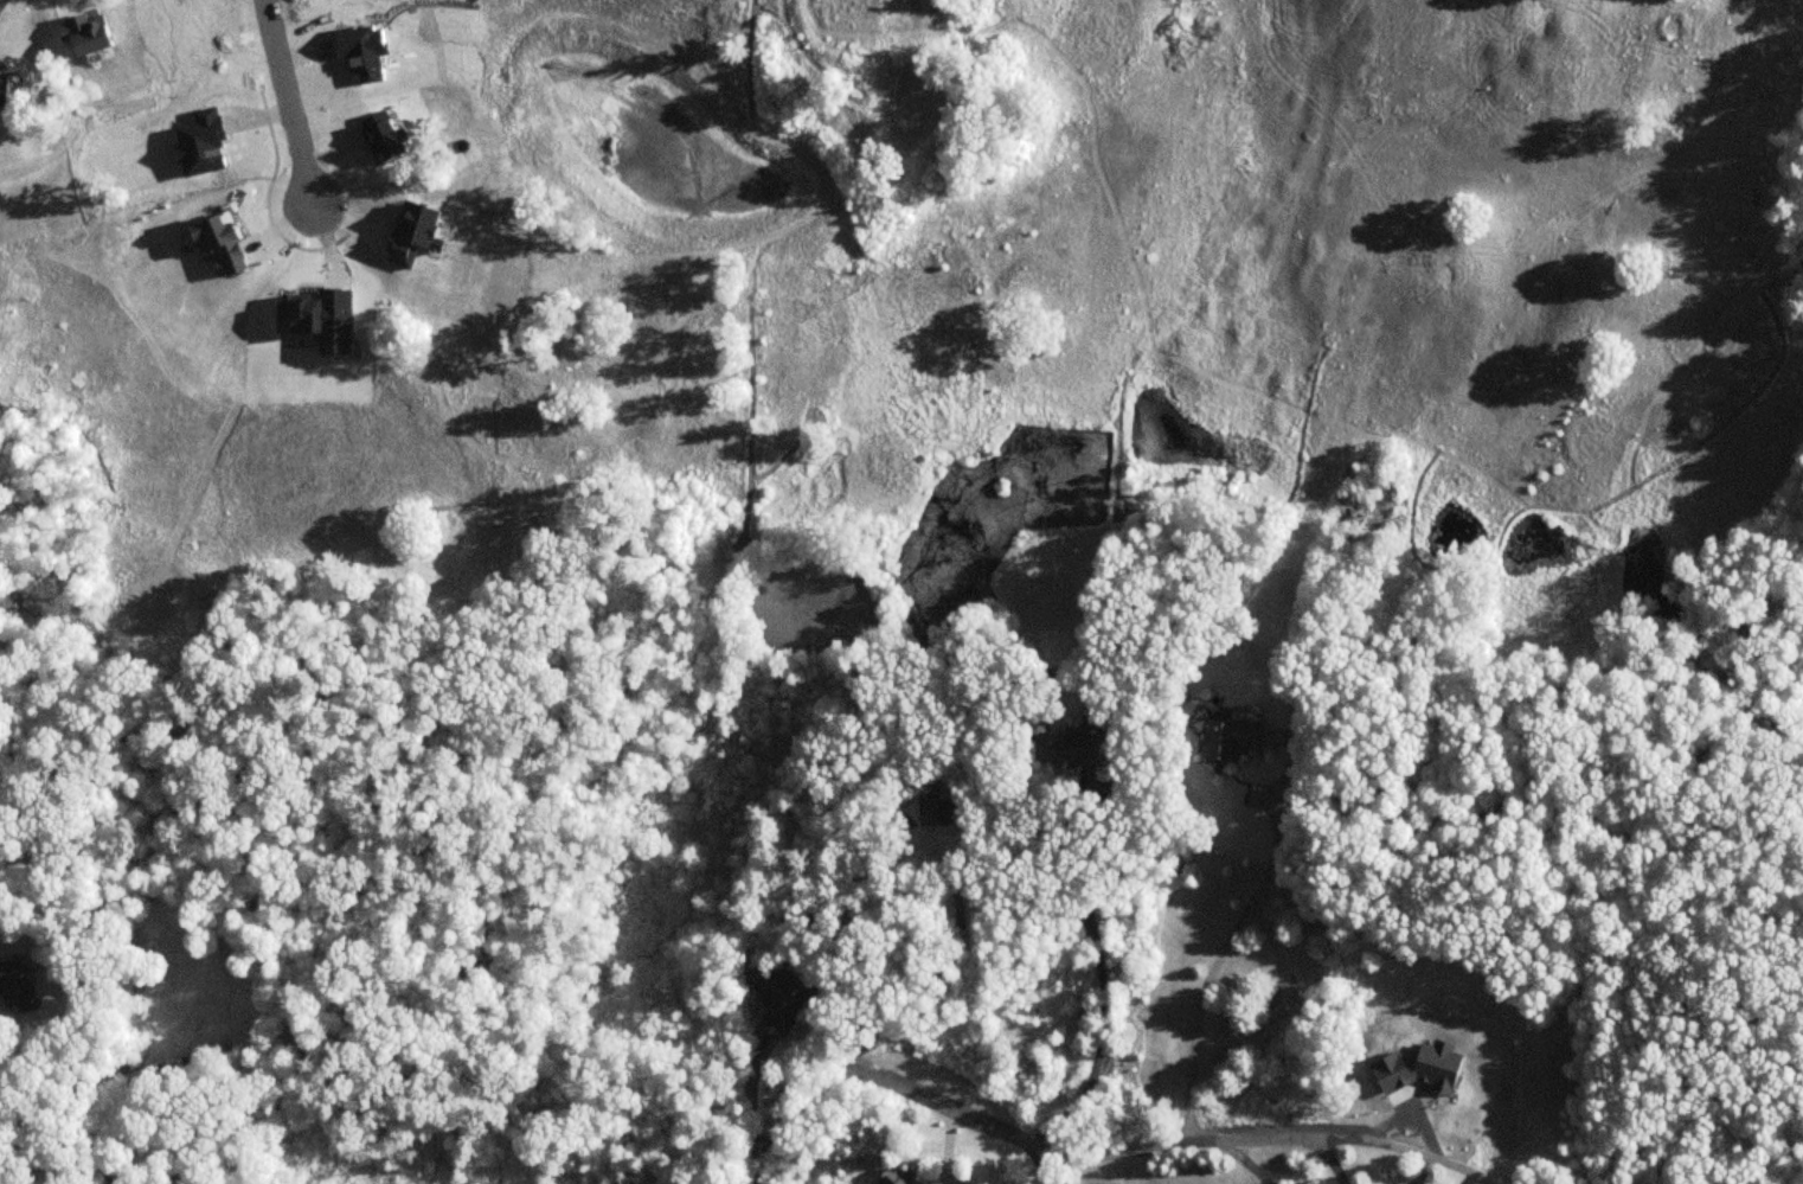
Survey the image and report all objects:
road: (288, 100)
building: (967, 450)
building: (1230, 741)
building: (1067, 748)
building: (938, 809)
road: (1217, 962)
road: (943, 971)
building: (12, 983)
road: (1103, 985)
building: (777, 999)
road: (1087, 1156)
road: (46, 1160)
road: (1037, 1160)
road: (1329, 1160)
road: (1424, 1171)
building: (894, 1176)

